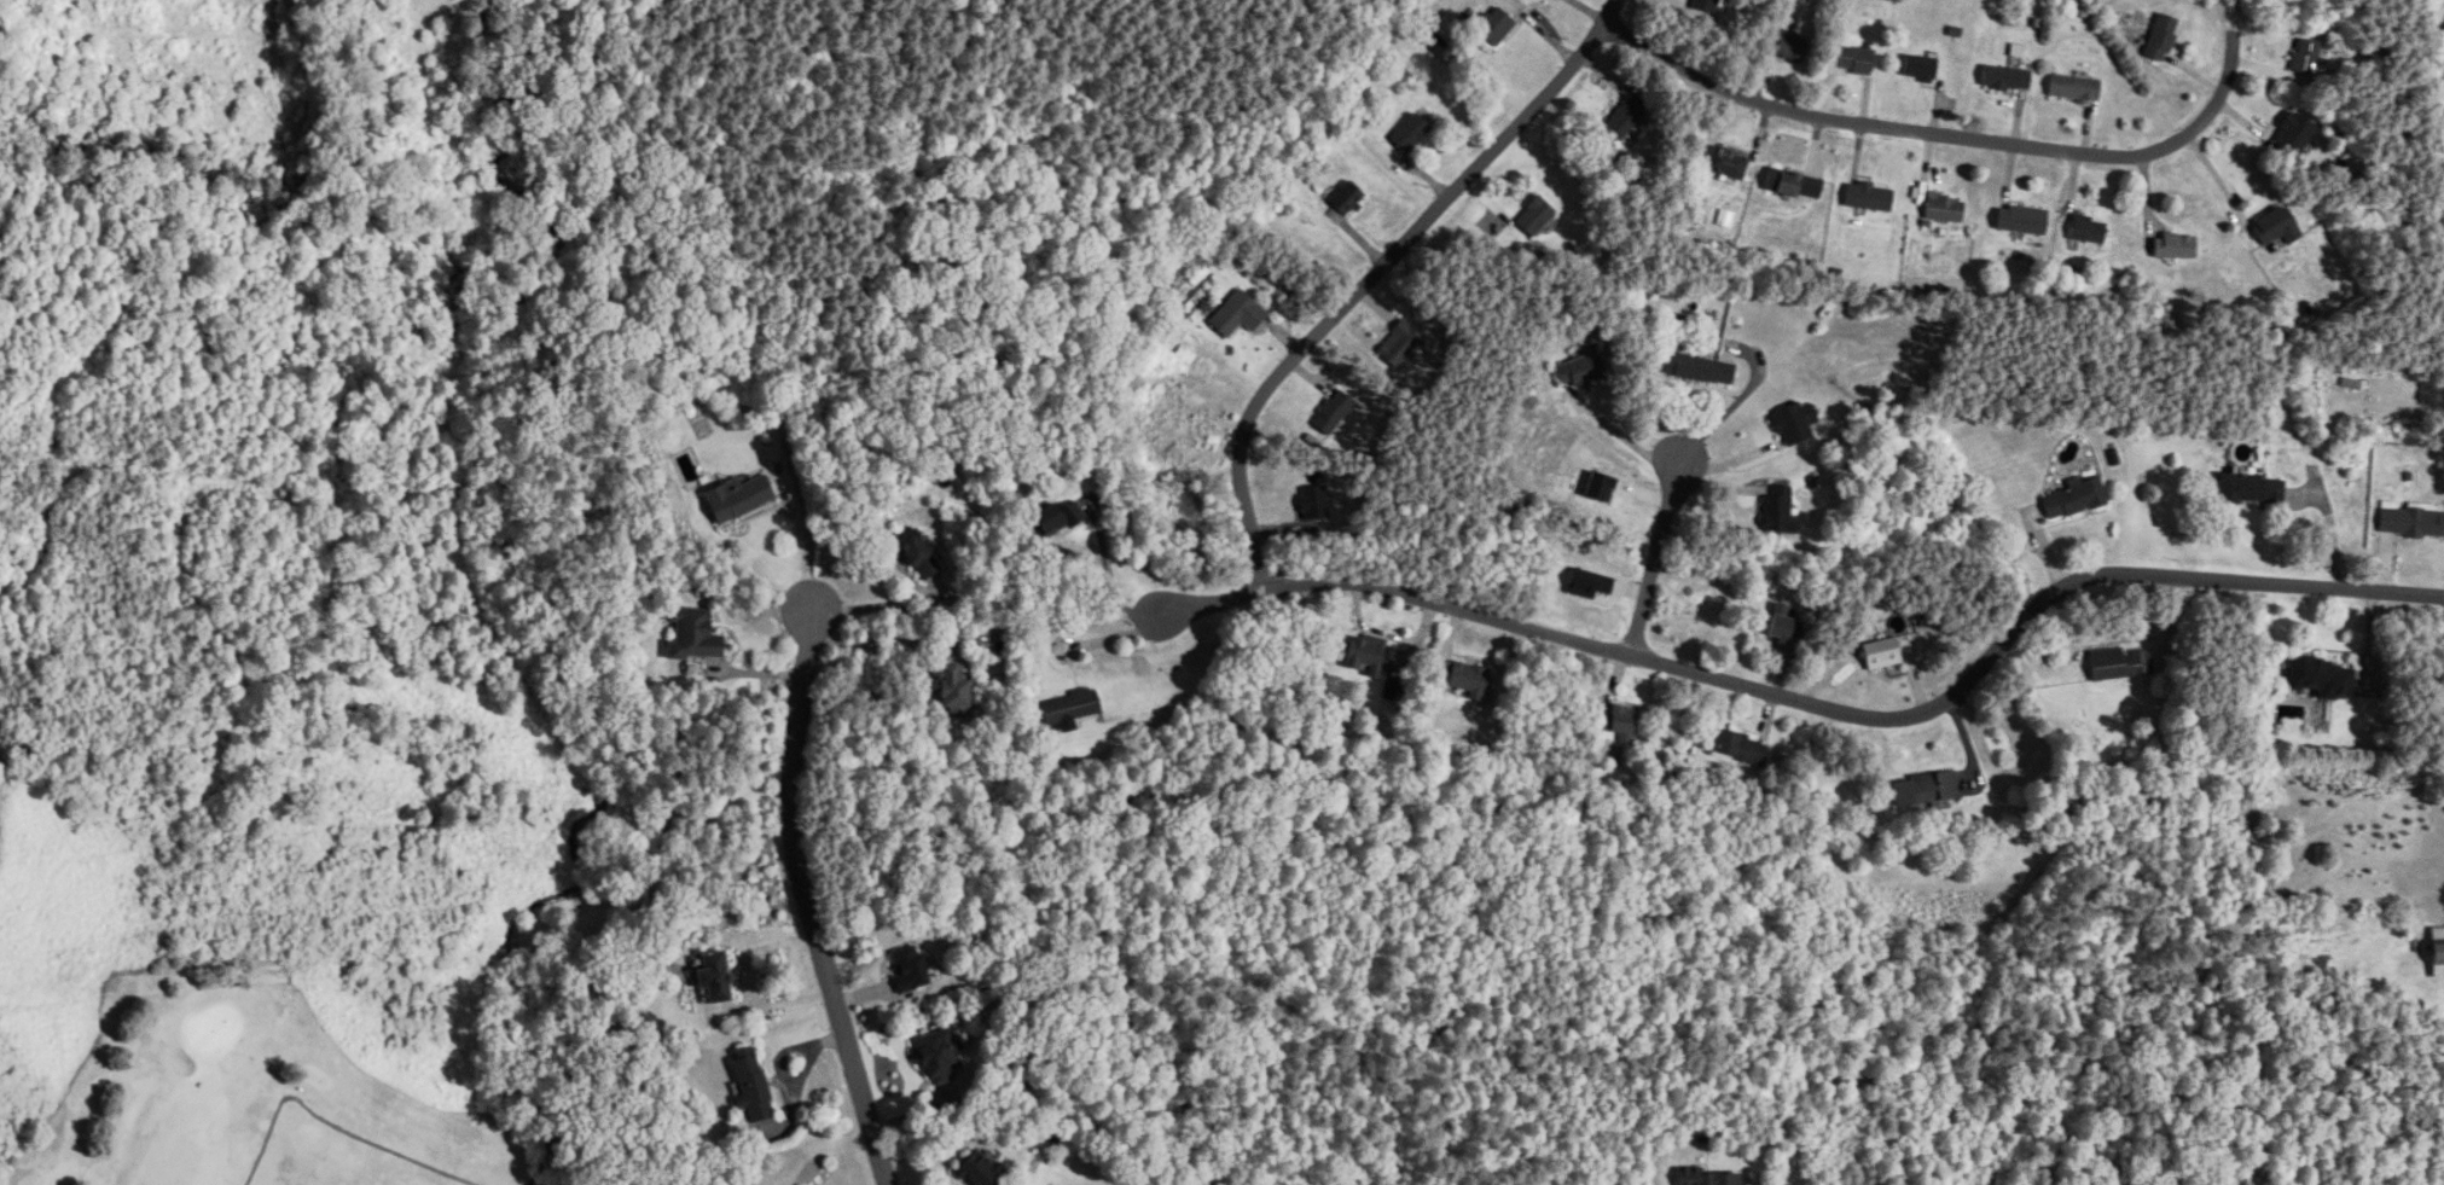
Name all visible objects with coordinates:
building: (1709, 6)
building: (1496, 25)
building: (2159, 37)
building: (1792, 46)
building: (2305, 57)
building: (1858, 60)
building: (1920, 68)
building: (2004, 79)
road: (2228, 80)
building: (2072, 89)
road: (1908, 127)
building: (1412, 133)
building: (2293, 135)
building: (1730, 163)
building: (1795, 184)
building: (1871, 197)
building: (1349, 198)
building: (1943, 209)
building: (1538, 216)
building: (2020, 220)
building: (2275, 226)
building: (2086, 230)
building: (2173, 246)
road: (1375, 272)
building: (1240, 314)
building: (1581, 368)
building: (1702, 368)
road: (1736, 403)
building: (1795, 424)
road: (1622, 437)
building: (2249, 489)
building: (742, 498)
building: (2074, 498)
building: (1782, 509)
building: (1061, 521)
building: (2419, 524)
road: (805, 539)
building: (922, 556)
road: (1654, 557)
building: (1787, 627)
building: (697, 635)
road: (871, 640)
building: (1879, 654)
building: (1368, 657)
building: (2118, 663)
building: (2321, 679)
building: (1471, 680)
building: (959, 691)
road: (1821, 705)
building: (1074, 707)
building: (1621, 725)
building: (1742, 747)
building: (1922, 790)
road: (807, 902)
road: (754, 949)
building: (2436, 951)
building: (912, 969)
building: (719, 977)
road: (773, 1003)
building: (942, 1055)
building: (754, 1088)
building: (985, 1169)
building: (1712, 1178)

